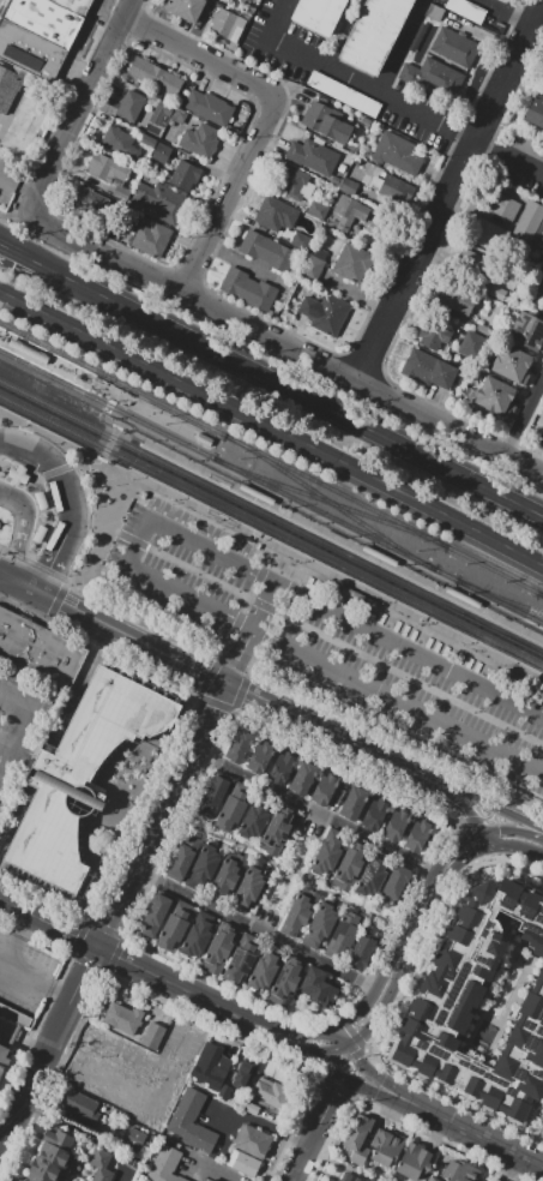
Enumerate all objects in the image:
building: (241, 0)
building: (503, 1)
building: (74, 6)
building: (185, 8)
building: (466, 11)
building: (435, 12)
road: (503, 13)
building: (318, 14)
building: (43, 19)
road: (197, 24)
building: (227, 24)
building: (374, 32)
building: (420, 34)
road: (398, 46)
building: (455, 47)
building: (29, 50)
road: (201, 56)
road: (507, 70)
building: (155, 76)
building: (432, 76)
road: (350, 79)
building: (11, 88)
building: (344, 94)
road: (83, 104)
building: (129, 106)
building: (207, 107)
building: (535, 112)
building: (313, 115)
building: (334, 128)
building: (147, 140)
building: (200, 140)
building: (120, 142)
building: (162, 152)
building: (397, 154)
building: (313, 156)
road: (507, 157)
building: (109, 173)
building: (185, 175)
parking lot: (5, 179)
road: (4, 181)
building: (291, 181)
building: (348, 186)
building: (390, 186)
road: (23, 188)
road: (234, 196)
building: (90, 202)
building: (159, 202)
building: (502, 205)
building: (351, 209)
building: (316, 210)
building: (274, 214)
road: (17, 215)
building: (529, 222)
building: (487, 234)
building: (152, 239)
building: (301, 241)
building: (267, 251)
road: (26, 256)
road: (415, 258)
building: (313, 263)
building: (351, 263)
building: (478, 265)
building: (538, 282)
building: (248, 289)
road: (5, 292)
building: (457, 296)
building: (325, 313)
building: (526, 331)
building: (434, 334)
road: (50, 337)
road: (286, 343)
building: (472, 346)
building: (28, 350)
building: (418, 365)
building: (514, 365)
railway: (40, 371)
building: (442, 373)
railway: (92, 378)
railway: (111, 378)
road: (297, 391)
building: (495, 397)
road: (110, 401)
road: (523, 412)
railway: (149, 425)
road: (276, 427)
building: (542, 428)
road: (129, 432)
building: (201, 440)
railway: (138, 442)
road: (109, 444)
road: (61, 445)
road: (20, 446)
street lamp: (11, 458)
road: (89, 464)
road: (59, 470)
street lamp: (36, 473)
railway: (123, 473)
building: (18, 475)
road: (60, 476)
street lamp: (46, 485)
railway: (334, 490)
building: (255, 494)
building: (40, 500)
railway: (331, 500)
railway: (331, 503)
street lamp: (54, 510)
railway: (326, 514)
street lamp: (11, 515)
railway: (271, 517)
road: (23, 527)
road: (97, 527)
street lamp: (53, 528)
street lamp: (32, 532)
road: (68, 532)
railway: (271, 533)
building: (40, 534)
road: (2, 546)
street lamp: (28, 551)
road: (135, 553)
building: (379, 556)
road: (30, 558)
road: (38, 563)
traffic signals: (53, 569)
railway: (495, 570)
road: (4, 571)
road: (49, 574)
road: (24, 582)
railway: (539, 593)
building: (461, 597)
railway: (489, 597)
railway: (500, 597)
building: (360, 598)
traffic signals: (64, 601)
road: (246, 601)
road: (147, 617)
road: (276, 618)
road: (252, 633)
road: (321, 634)
parking lot: (326, 641)
road: (97, 646)
building: (37, 649)
road: (235, 663)
road: (209, 675)
road: (80, 683)
road: (536, 687)
road: (241, 690)
road: (248, 693)
road: (213, 703)
road: (24, 719)
parking lot: (22, 726)
road: (398, 736)
road: (5, 743)
parking lot: (52, 743)
building: (237, 745)
building: (260, 757)
road: (40, 766)
building: (280, 768)
road: (348, 768)
building: (78, 777)
building: (303, 778)
building: (325, 789)
parking lot: (28, 790)
building: (212, 797)
building: (354, 803)
traffic signals: (499, 809)
road: (500, 809)
building: (231, 811)
road: (318, 811)
road: (467, 811)
building: (374, 815)
traffic signals: (470, 815)
road: (487, 817)
road: (13, 819)
building: (253, 821)
building: (397, 825)
traffic signals: (499, 829)
road: (512, 829)
building: (276, 833)
building: (418, 837)
road: (485, 838)
road: (452, 845)
road: (466, 845)
road: (517, 846)
traffic signals: (466, 855)
road: (463, 856)
building: (183, 857)
building: (325, 857)
road: (497, 858)
building: (205, 863)
building: (350, 867)
road: (288, 871)
building: (228, 873)
road: (292, 873)
building: (370, 879)
building: (251, 882)
building: (394, 882)
building: (297, 911)
road: (115, 912)
building: (155, 913)
road: (415, 919)
building: (322, 923)
road: (20, 929)
road: (257, 929)
building: (173, 930)
building: (345, 931)
building: (197, 940)
road: (5, 942)
building: (218, 949)
building: (361, 952)
road: (119, 955)
building: (239, 964)
road: (1, 965)
building: (261, 973)
road: (29, 975)
building: (285, 982)
building: (318, 987)
park: (494, 994)
road: (366, 1000)
building: (441, 1003)
road: (381, 1012)
building: (121, 1017)
traffic signals: (351, 1018)
road: (286, 1029)
building: (155, 1032)
road: (343, 1036)
road: (265, 1037)
road: (345, 1045)
road: (181, 1049)
road: (319, 1054)
traffic signals: (324, 1054)
building: (4, 1057)
traffic signals: (360, 1059)
traffic signals: (316, 1063)
building: (211, 1065)
parking lot: (120, 1073)
building: (243, 1074)
road: (382, 1079)
road: (358, 1084)
road: (162, 1087)
building: (224, 1091)
building: (270, 1092)
traffic signals: (336, 1092)
building: (79, 1104)
building: (248, 1107)
building: (191, 1122)
road: (265, 1126)
road: (316, 1128)
road: (82, 1133)
building: (357, 1137)
road: (482, 1138)
building: (134, 1139)
building: (251, 1141)
road: (532, 1141)
building: (386, 1147)
building: (53, 1157)
building: (414, 1161)
building: (165, 1163)
building: (243, 1163)
building: (103, 1165)
road: (513, 1168)
building: (459, 1171)
building: (349, 1177)
building: (210, 1179)
building: (375, 1179)
building: (433, 1179)
building: (203, 1180)

